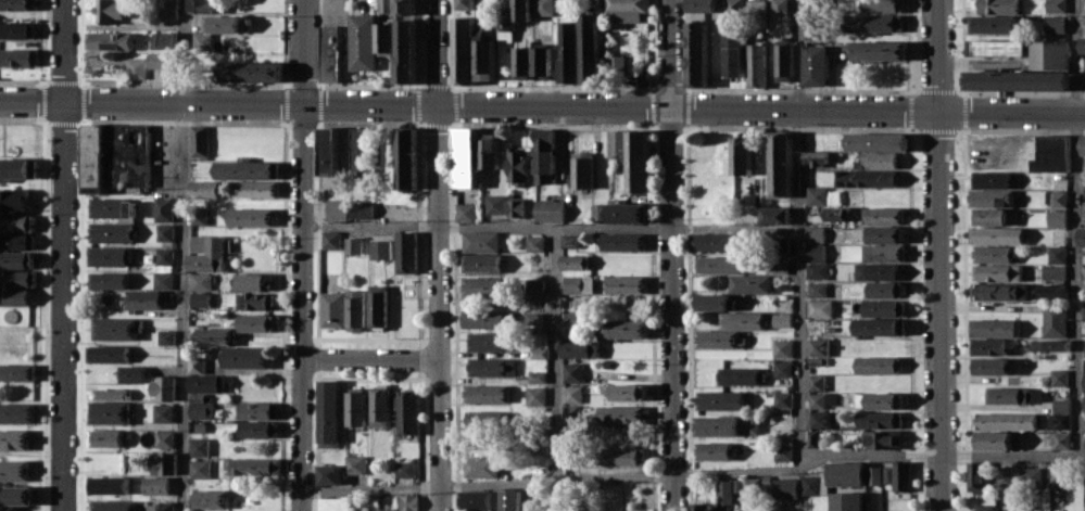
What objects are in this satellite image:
building: (15, 4)
building: (463, 4)
building: (200, 5)
building: (702, 5)
building: (734, 5)
building: (779, 5)
building: (996, 5)
building: (1056, 5)
building: (403, 7)
building: (542, 8)
building: (755, 8)
building: (166, 9)
building: (521, 10)
building: (624, 10)
building: (106, 11)
building: (874, 22)
building: (994, 23)
building: (1055, 23)
building: (505, 24)
building: (15, 29)
building: (214, 29)
building: (383, 38)
building: (163, 39)
building: (106, 40)
building: (361, 41)
building: (1082, 42)
building: (589, 48)
building: (997, 48)
building: (404, 50)
building: (463, 50)
building: (879, 50)
building: (567, 51)
building: (329, 52)
building: (733, 52)
building: (696, 53)
building: (1049, 54)
building: (17, 56)
building: (161, 60)
building: (483, 60)
building: (782, 62)
building: (521, 63)
building: (540, 63)
building: (755, 65)
building: (816, 65)
road: (977, 65)
building: (134, 67)
building: (251, 71)
building: (1015, 80)
road: (542, 107)
building: (197, 140)
building: (876, 141)
building: (616, 143)
building: (1082, 144)
building: (358, 150)
building: (487, 151)
building: (1050, 153)
building: (741, 154)
building: (113, 155)
building: (327, 155)
building: (542, 155)
building: (464, 156)
building: (815, 156)
building: (404, 157)
building: (879, 159)
building: (638, 161)
building: (516, 164)
building: (780, 164)
building: (15, 168)
building: (244, 169)
building: (581, 169)
building: (866, 177)
building: (991, 179)
building: (201, 189)
building: (253, 189)
building: (815, 195)
building: (1058, 197)
building: (12, 200)
building: (493, 203)
building: (110, 207)
building: (515, 207)
building: (161, 208)
building: (335, 209)
building: (359, 209)
building: (548, 209)
building: (597, 210)
building: (464, 212)
building: (627, 213)
building: (837, 213)
building: (882, 214)
building: (773, 215)
building: (195, 216)
building: (248, 216)
building: (995, 216)
building: (1056, 218)
building: (15, 222)
road: (483, 226)
road: (1073, 227)
road: (732, 228)
building: (1083, 230)
building: (109, 232)
building: (162, 232)
road: (796, 233)
building: (812, 233)
building: (885, 234)
building: (997, 234)
building: (328, 240)
building: (568, 240)
building: (15, 241)
building: (479, 241)
building: (621, 241)
building: (714, 241)
building: (533, 243)
building: (781, 244)
road: (300, 245)
building: (351, 245)
building: (378, 248)
building: (404, 252)
building: (204, 253)
building: (883, 253)
building: (992, 253)
building: (1057, 254)
road: (61, 255)
road: (184, 255)
road: (436, 255)
road: (668, 255)
road: (938, 255)
building: (108, 256)
building: (15, 259)
building: (815, 260)
building: (573, 261)
building: (479, 263)
building: (718, 264)
building: (779, 265)
building: (161, 267)
building: (875, 270)
building: (1052, 271)
building: (996, 272)
building: (15, 278)
building: (104, 280)
building: (198, 281)
building: (248, 281)
building: (748, 283)
building: (576, 284)
building: (624, 284)
building: (482, 286)
building: (533, 289)
building: (816, 289)
building: (884, 289)
building: (994, 291)
building: (1050, 291)
building: (13, 296)
building: (141, 298)
building: (198, 298)
building: (253, 301)
building: (711, 302)
building: (376, 305)
building: (883, 307)
building: (819, 308)
building: (330, 309)
building: (353, 310)
building: (1083, 312)
building: (482, 319)
building: (781, 319)
building: (1054, 319)
building: (741, 320)
building: (256, 322)
building: (569, 322)
building: (878, 325)
building: (992, 328)
building: (113, 329)
building: (622, 329)
building: (163, 336)
building: (212, 336)
building: (718, 338)
building: (487, 341)
building: (1050, 344)
building: (818, 346)
building: (987, 346)
building: (781, 347)
building: (578, 349)
building: (1084, 350)
building: (104, 353)
road: (551, 353)
building: (243, 357)
road: (368, 360)
building: (193, 365)
building: (878, 365)
building: (988, 366)
building: (490, 367)
building: (782, 368)
building: (15, 372)
building: (571, 372)
building: (129, 373)
building: (740, 375)
building: (535, 376)
building: (1058, 376)
building: (1083, 381)
building: (815, 382)
building: (204, 383)
building: (160, 387)
building: (622, 392)
building: (108, 393)
building: (485, 393)
building: (570, 393)
building: (1007, 395)
building: (1035, 395)
building: (534, 396)
building: (197, 397)
building: (718, 399)
building: (781, 399)
building: (820, 399)
building: (882, 400)
building: (1083, 403)
building: (1061, 405)
building: (378, 406)
building: (353, 408)
building: (199, 410)
building: (256, 410)
building: (405, 411)
building: (15, 412)
building: (106, 412)
building: (161, 412)
building: (569, 412)
building: (327, 413)
building: (619, 414)
building: (483, 419)
building: (819, 419)
building: (879, 419)
building: (1004, 420)
building: (1059, 421)
building: (727, 425)
building: (255, 429)
building: (103, 437)
building: (162, 438)
building: (810, 438)
building: (13, 439)
building: (883, 439)
building: (992, 439)
building: (1060, 440)
building: (1084, 440)
building: (197, 446)
building: (712, 450)
building: (781, 451)
road: (957, 451)
building: (622, 456)
road: (813, 460)
building: (162, 463)
building: (353, 464)
building: (249, 465)
building: (479, 467)
building: (197, 469)
building: (403, 469)
building: (13, 470)
building: (845, 473)
building: (327, 474)
building: (975, 474)
building: (1057, 474)
building: (872, 475)
building: (897, 475)
building: (1004, 475)
building: (1031, 475)
road: (548, 480)
building: (106, 484)
building: (813, 484)
building: (154, 485)
building: (750, 486)
building: (784, 487)
building: (727, 489)
building: (15, 495)
building: (209, 499)
building: (508, 499)
building: (474, 500)
road: (300, 501)
building: (846, 501)
building: (406, 502)
building: (331, 503)
building: (112, 504)
building: (156, 506)
building: (701, 507)
building: (983, 507)
building: (384, 509)

